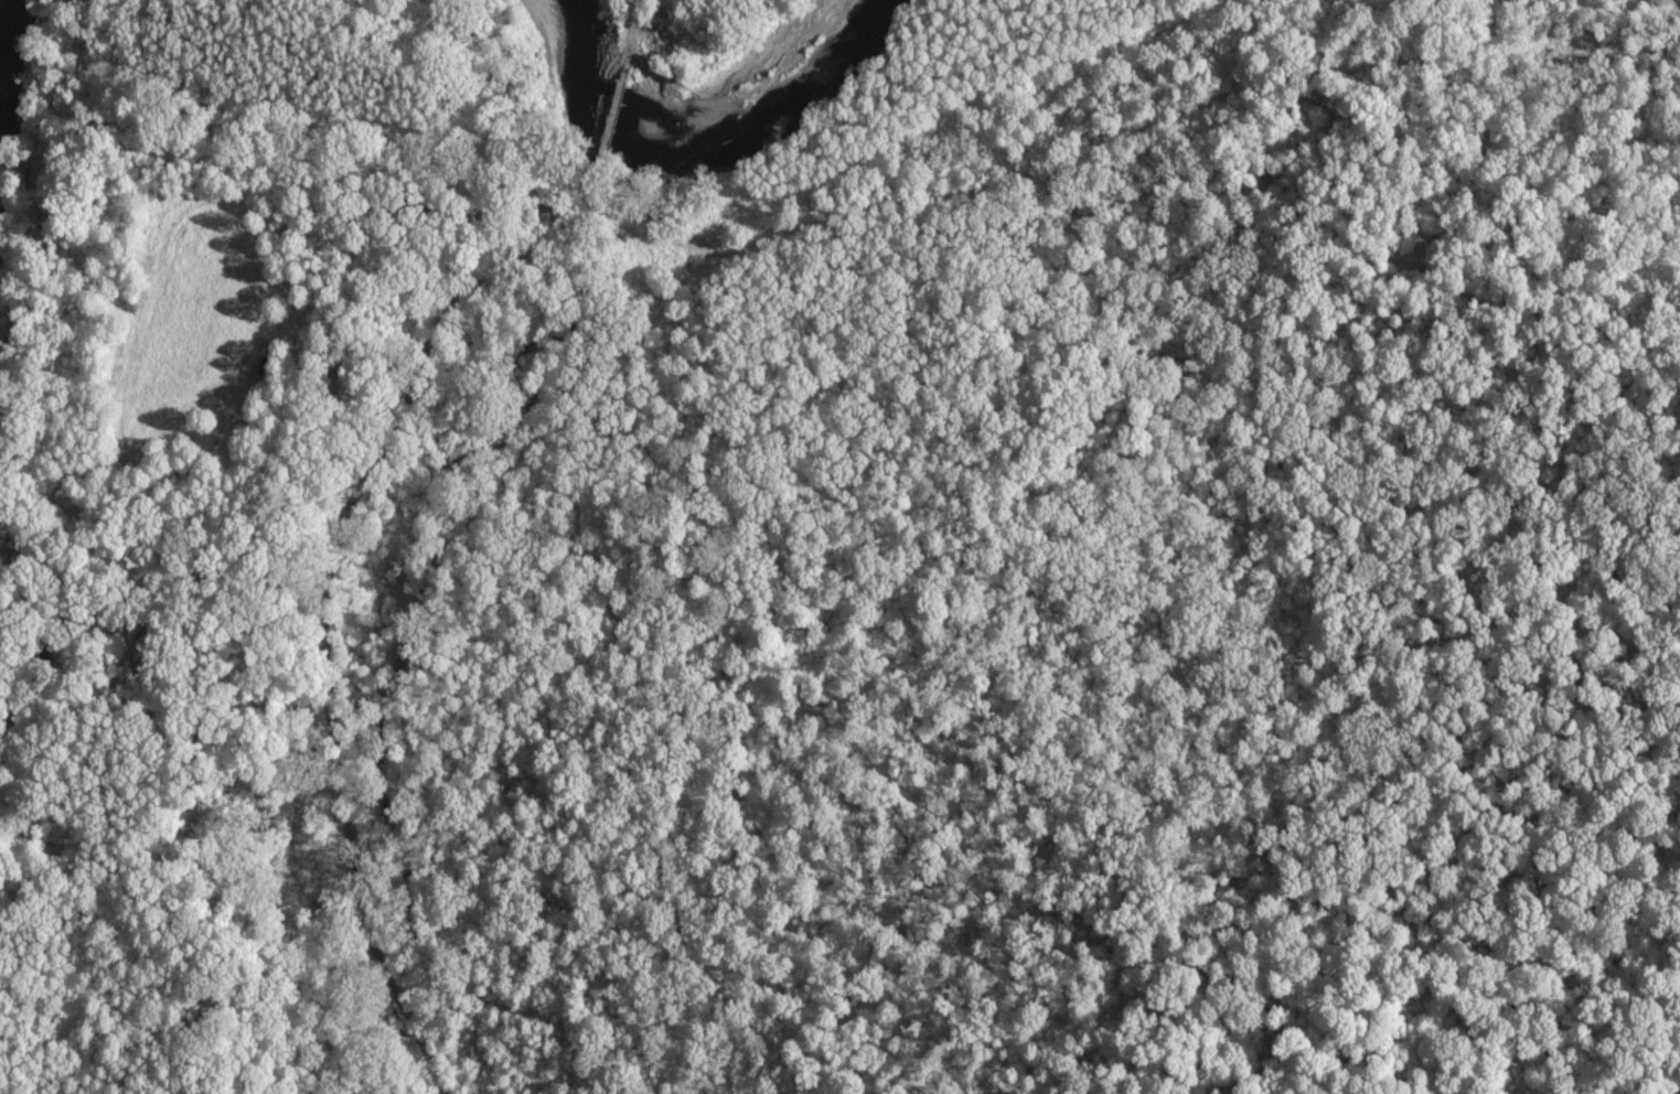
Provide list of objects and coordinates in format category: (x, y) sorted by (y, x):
road: (340, 507)

